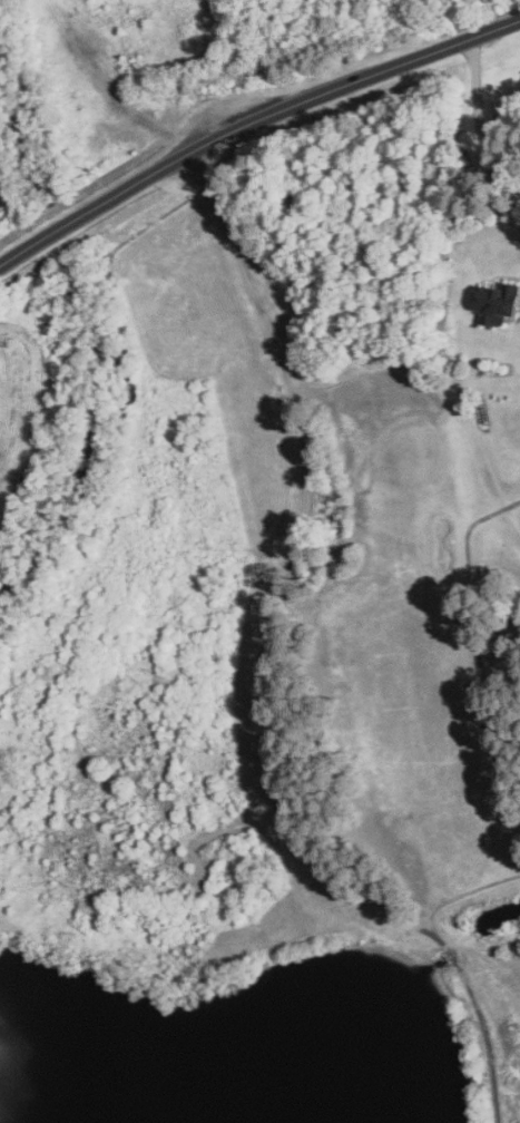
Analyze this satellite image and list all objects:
road: (282, 108)
road: (479, 118)
road: (29, 247)
building: (496, 301)
road: (261, 670)

